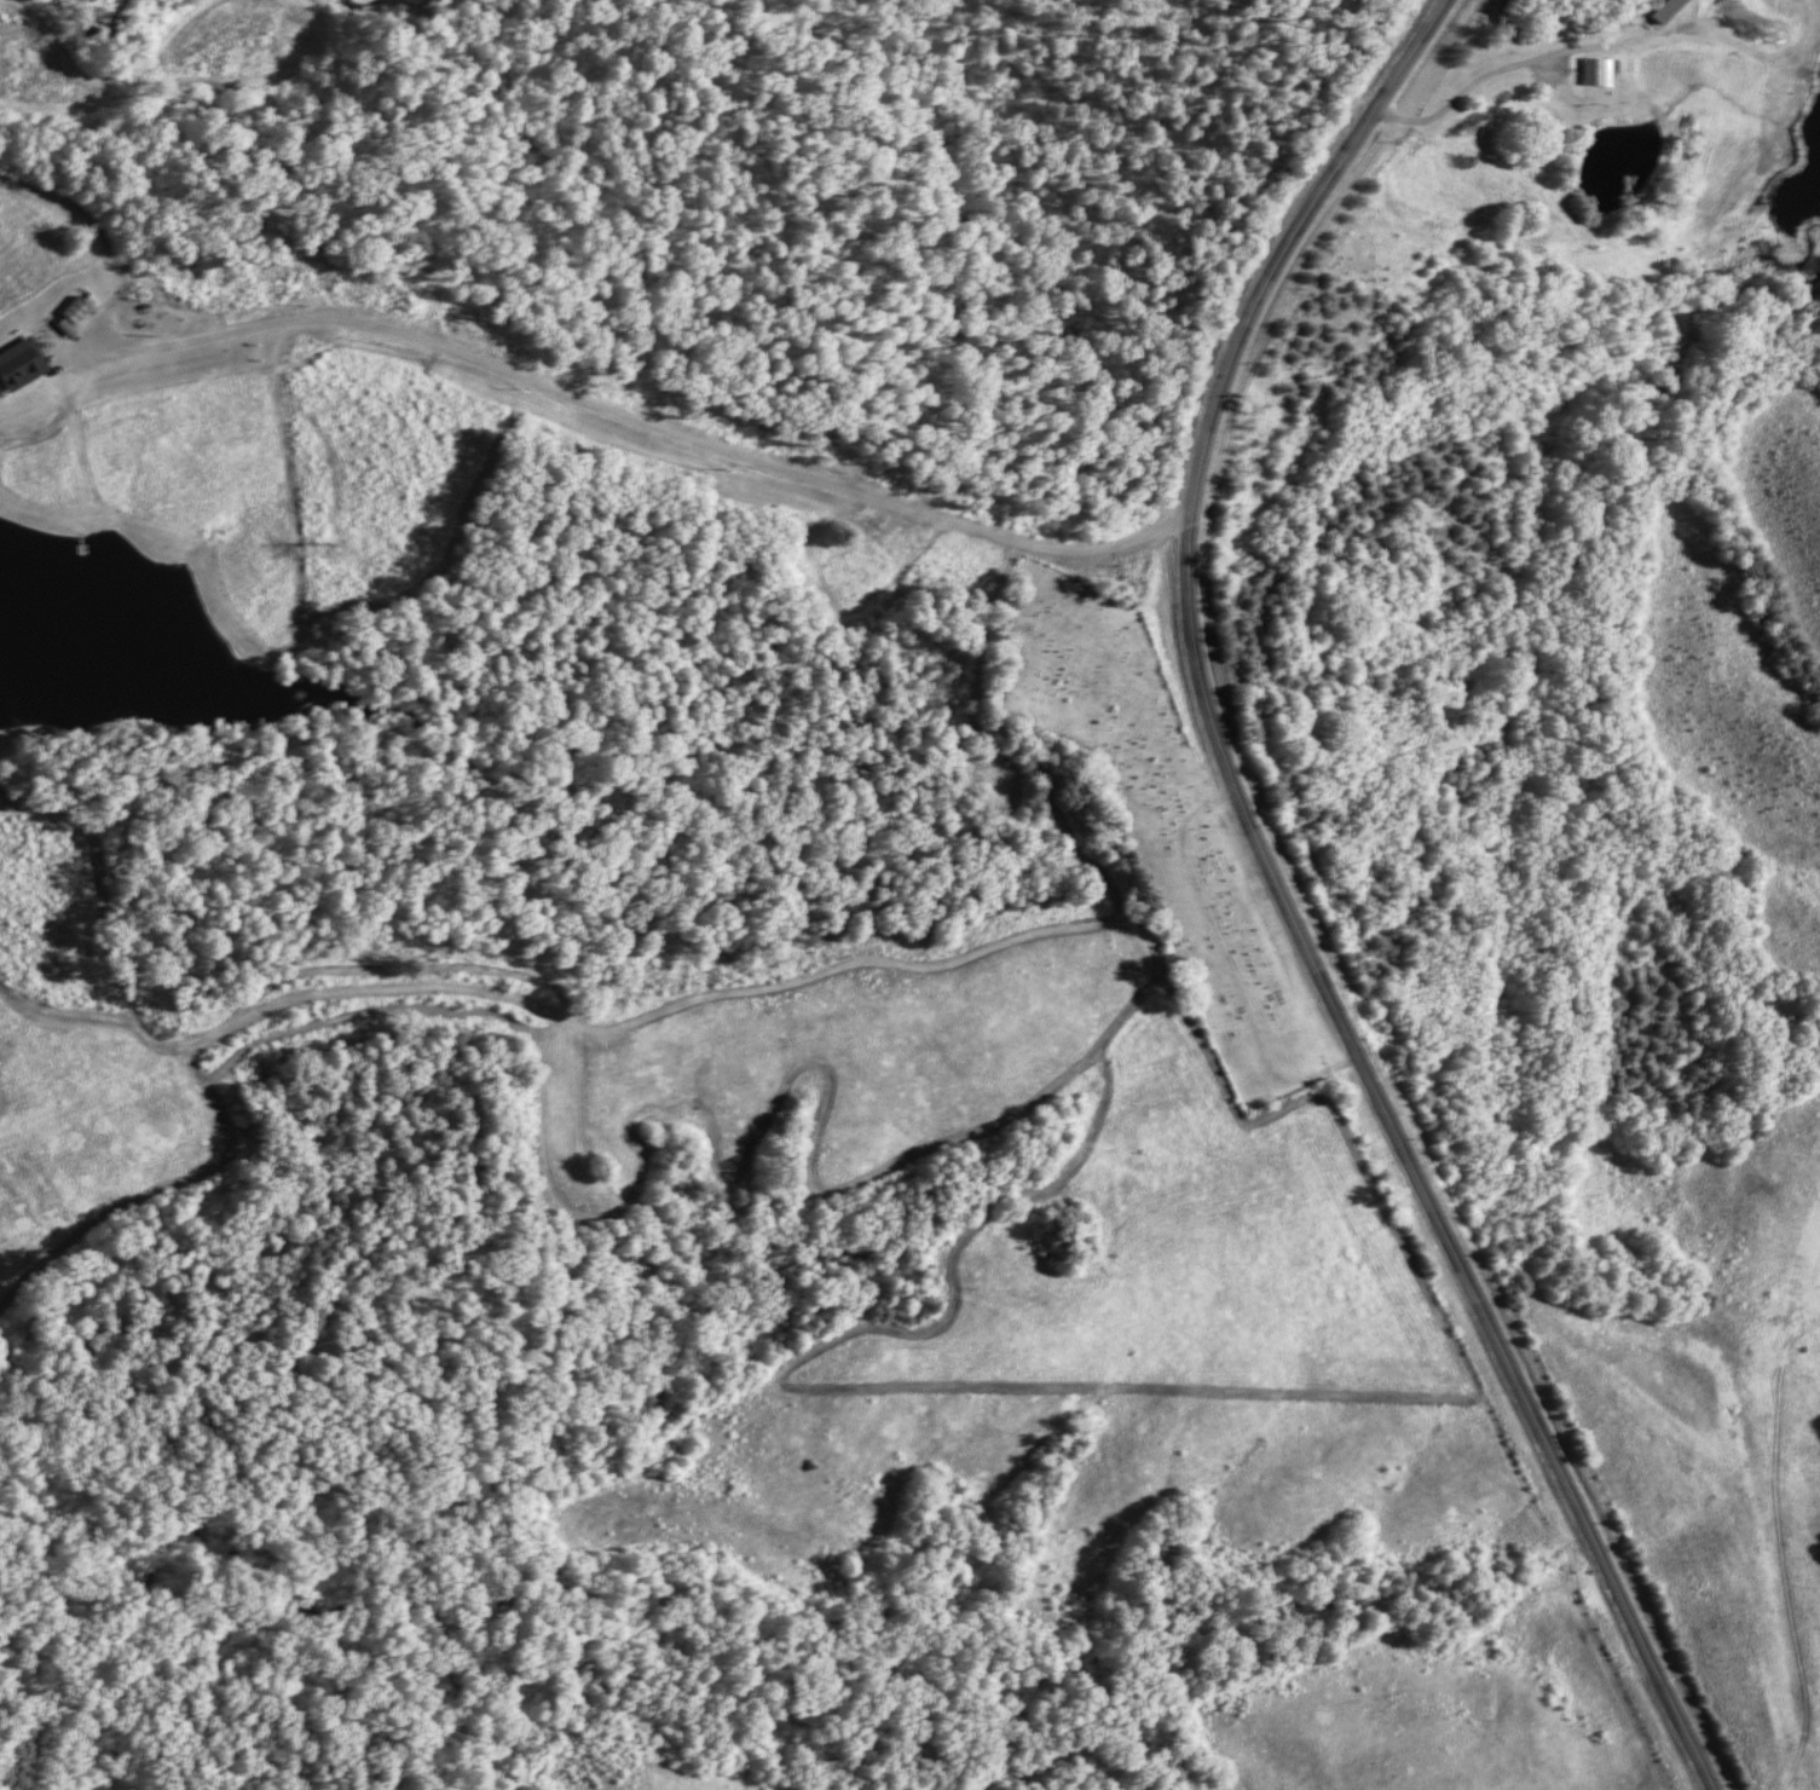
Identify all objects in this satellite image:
building: (1657, 8)
building: (1588, 70)
road: (1463, 93)
building: (70, 308)
building: (17, 363)
road: (596, 412)
park: (1155, 816)
road: (1278, 901)

